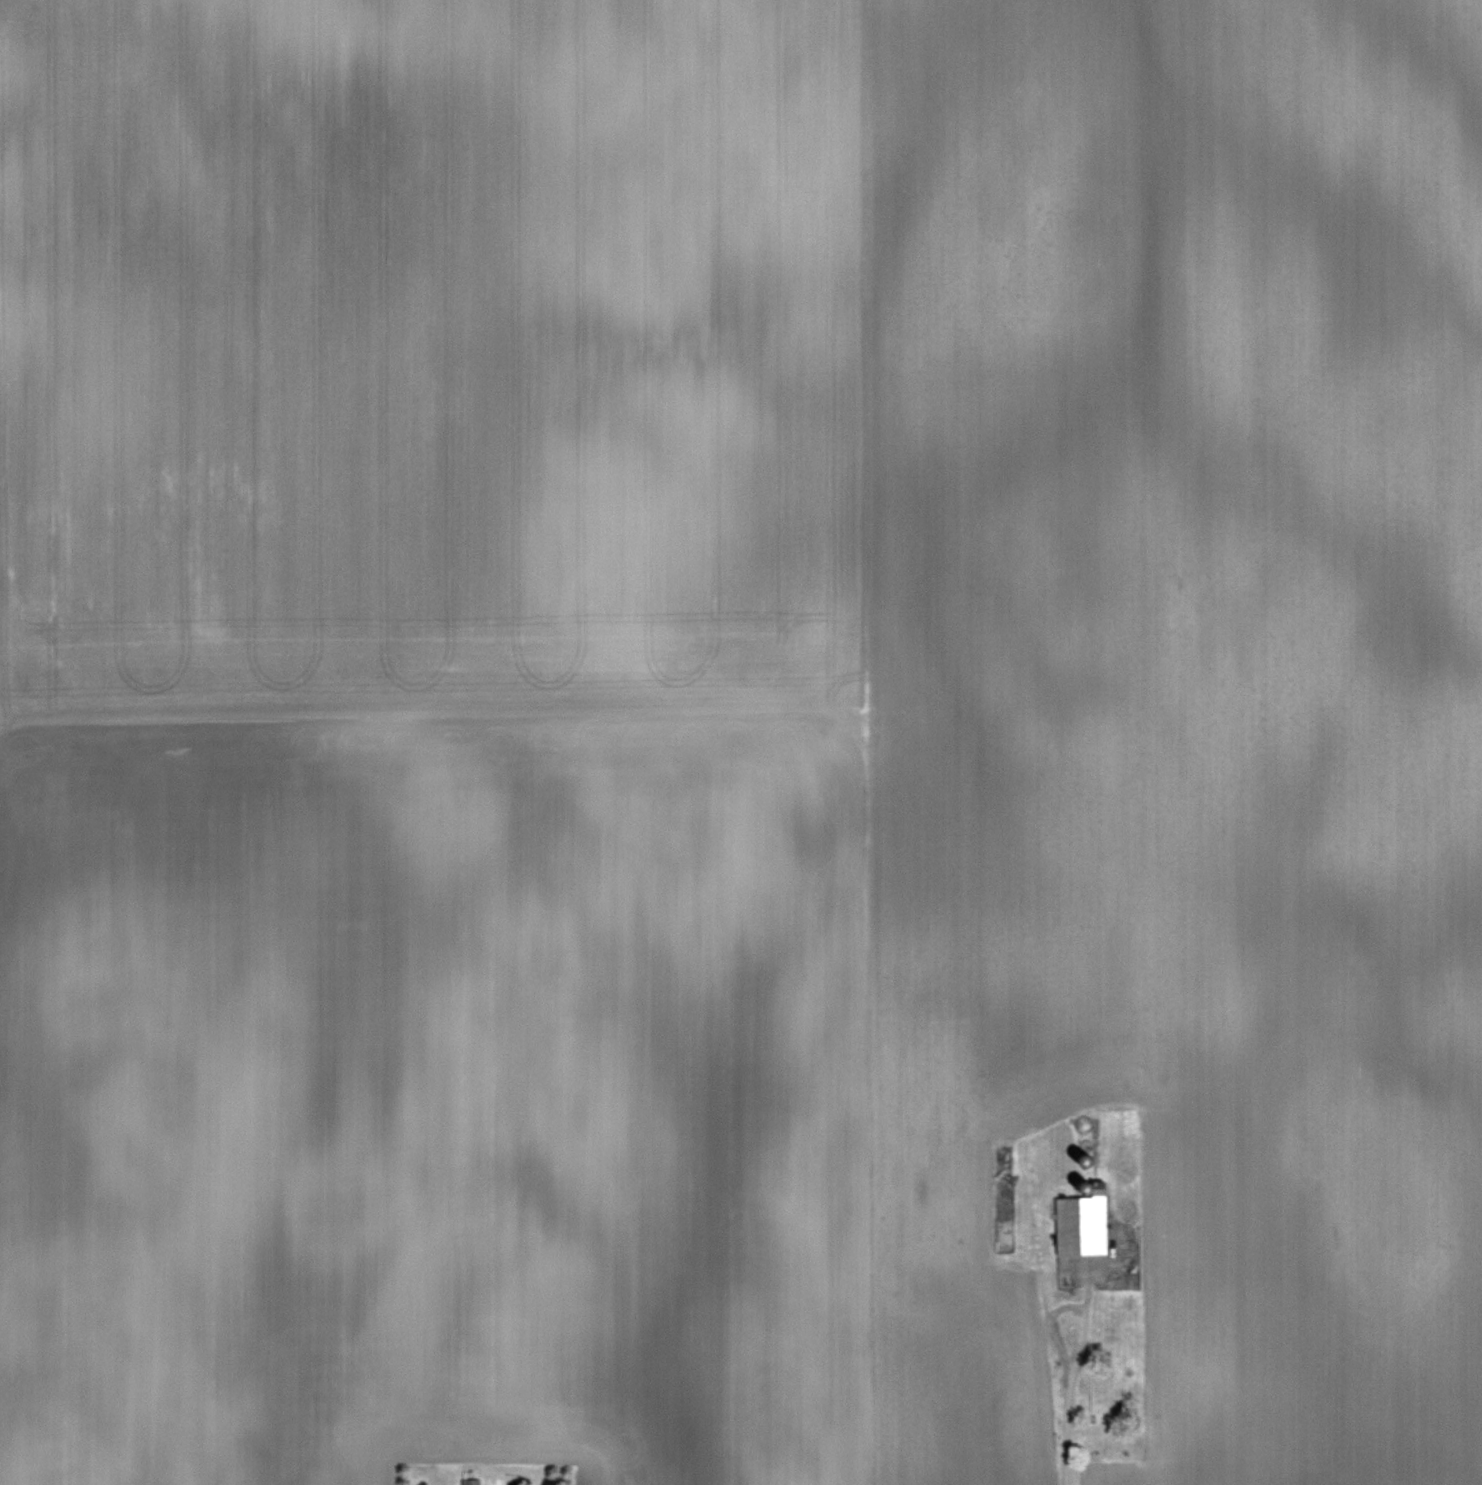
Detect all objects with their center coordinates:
building: (1083, 1225)
road: (1074, 1416)
building: (472, 1482)

